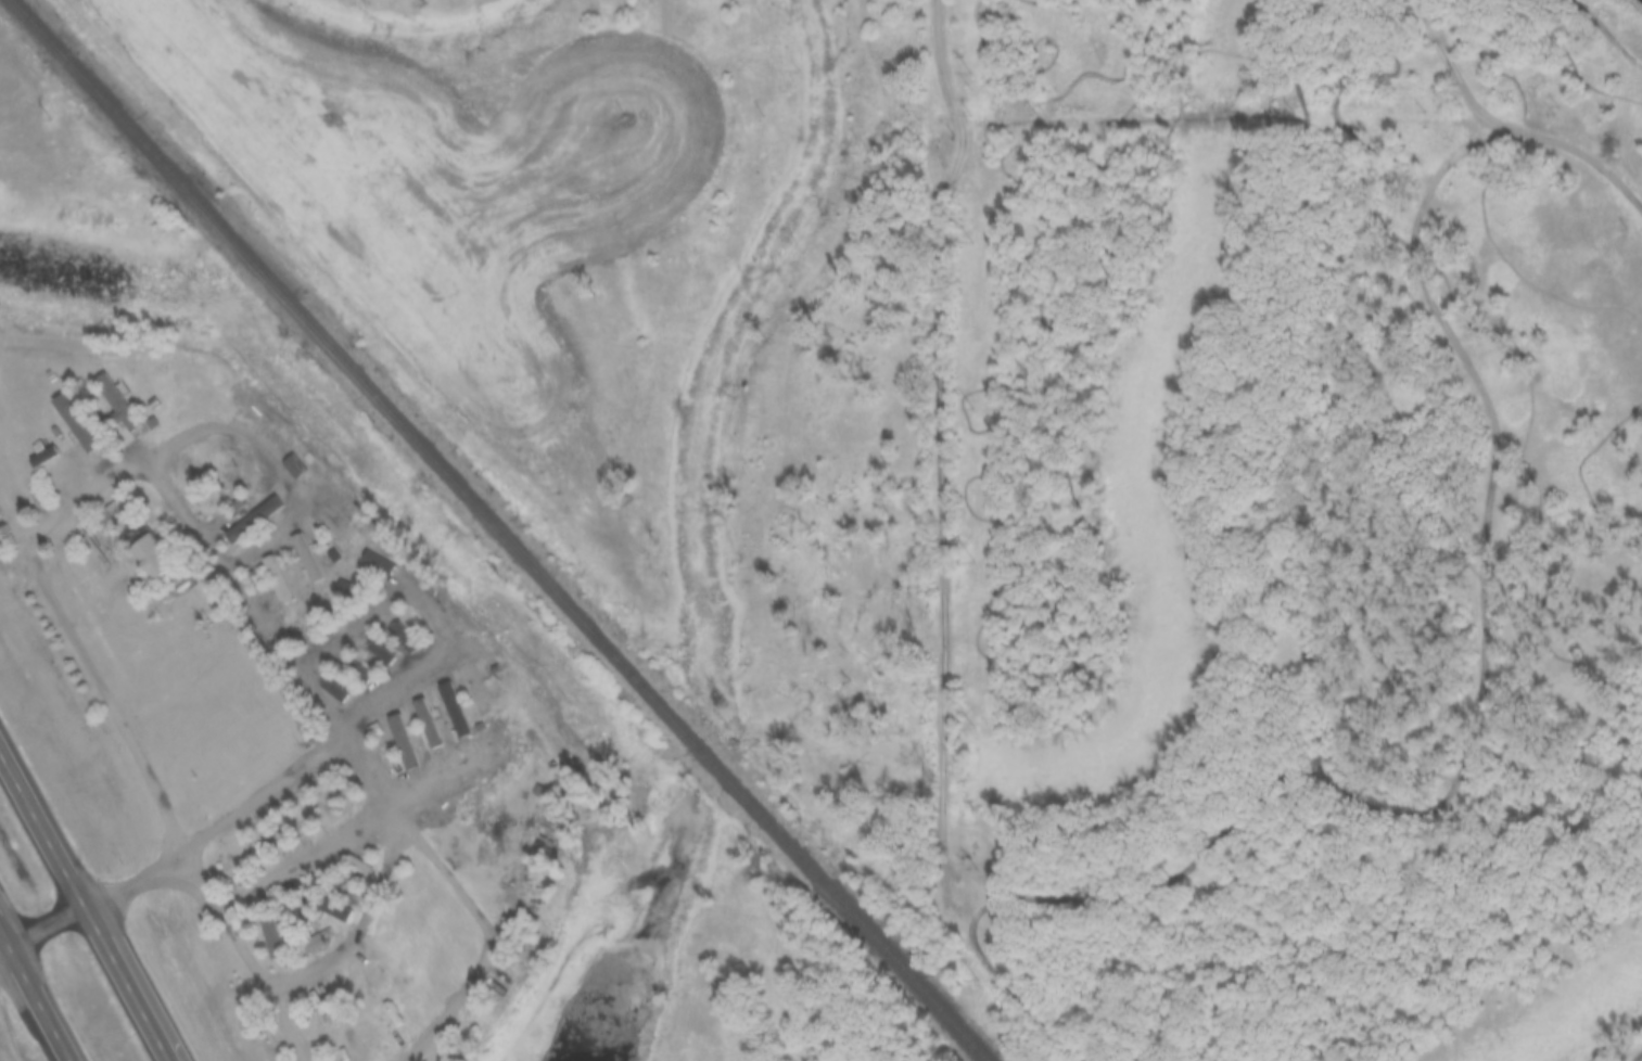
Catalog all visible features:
road: (1596, 42)
road: (1450, 50)
road: (1567, 63)
road: (1315, 113)
road: (1502, 191)
road: (1480, 336)
building: (132, 410)
road: (940, 442)
road: (1487, 445)
road: (958, 449)
road: (1341, 450)
road: (150, 461)
road: (1635, 494)
park: (1268, 523)
railway: (499, 530)
building: (147, 548)
road: (1297, 564)
road: (404, 629)
road: (1335, 797)
road: (242, 810)
road: (1289, 873)
road: (165, 885)
road: (87, 898)
road: (1511, 936)
road: (1339, 945)
road: (4, 946)
building: (310, 946)
road: (1097, 967)
road: (302, 975)
road: (1004, 983)
road: (36, 993)
road: (1622, 1043)

